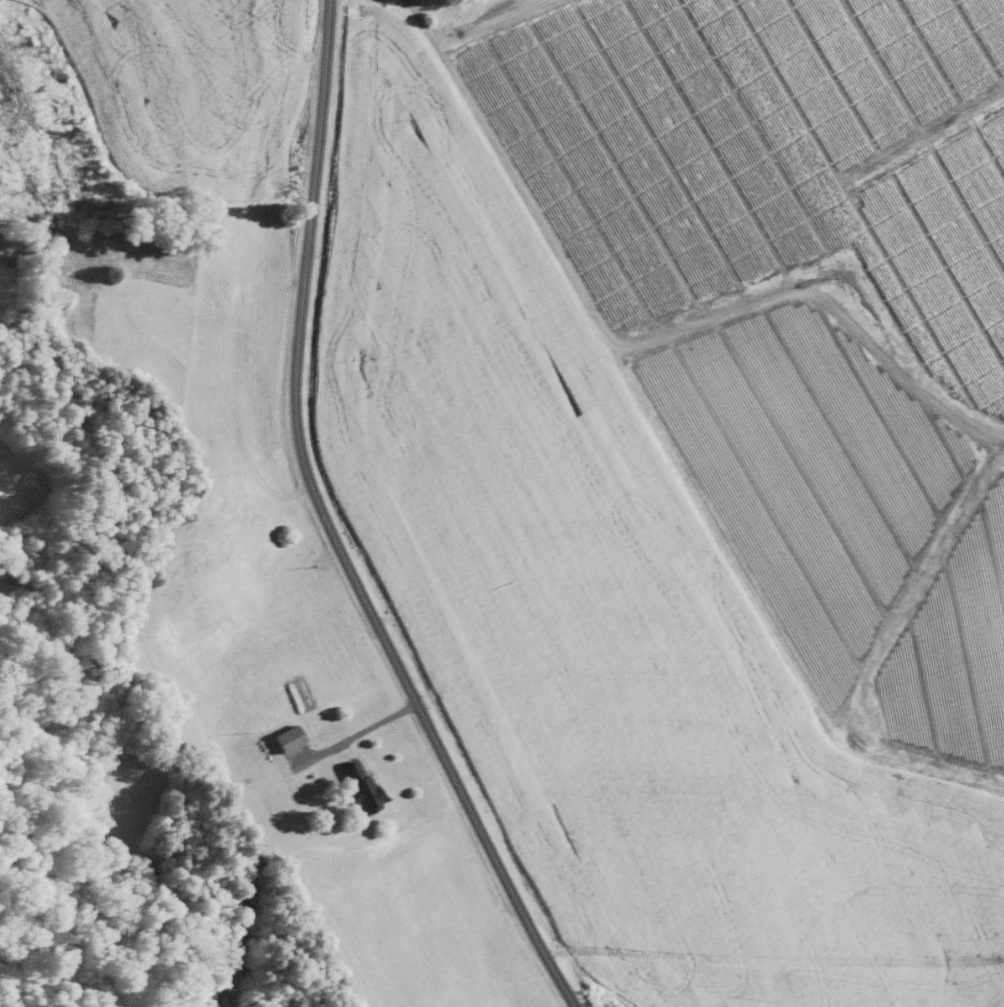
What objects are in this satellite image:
road: (328, 529)
road: (358, 733)
building: (285, 736)
building: (358, 785)

